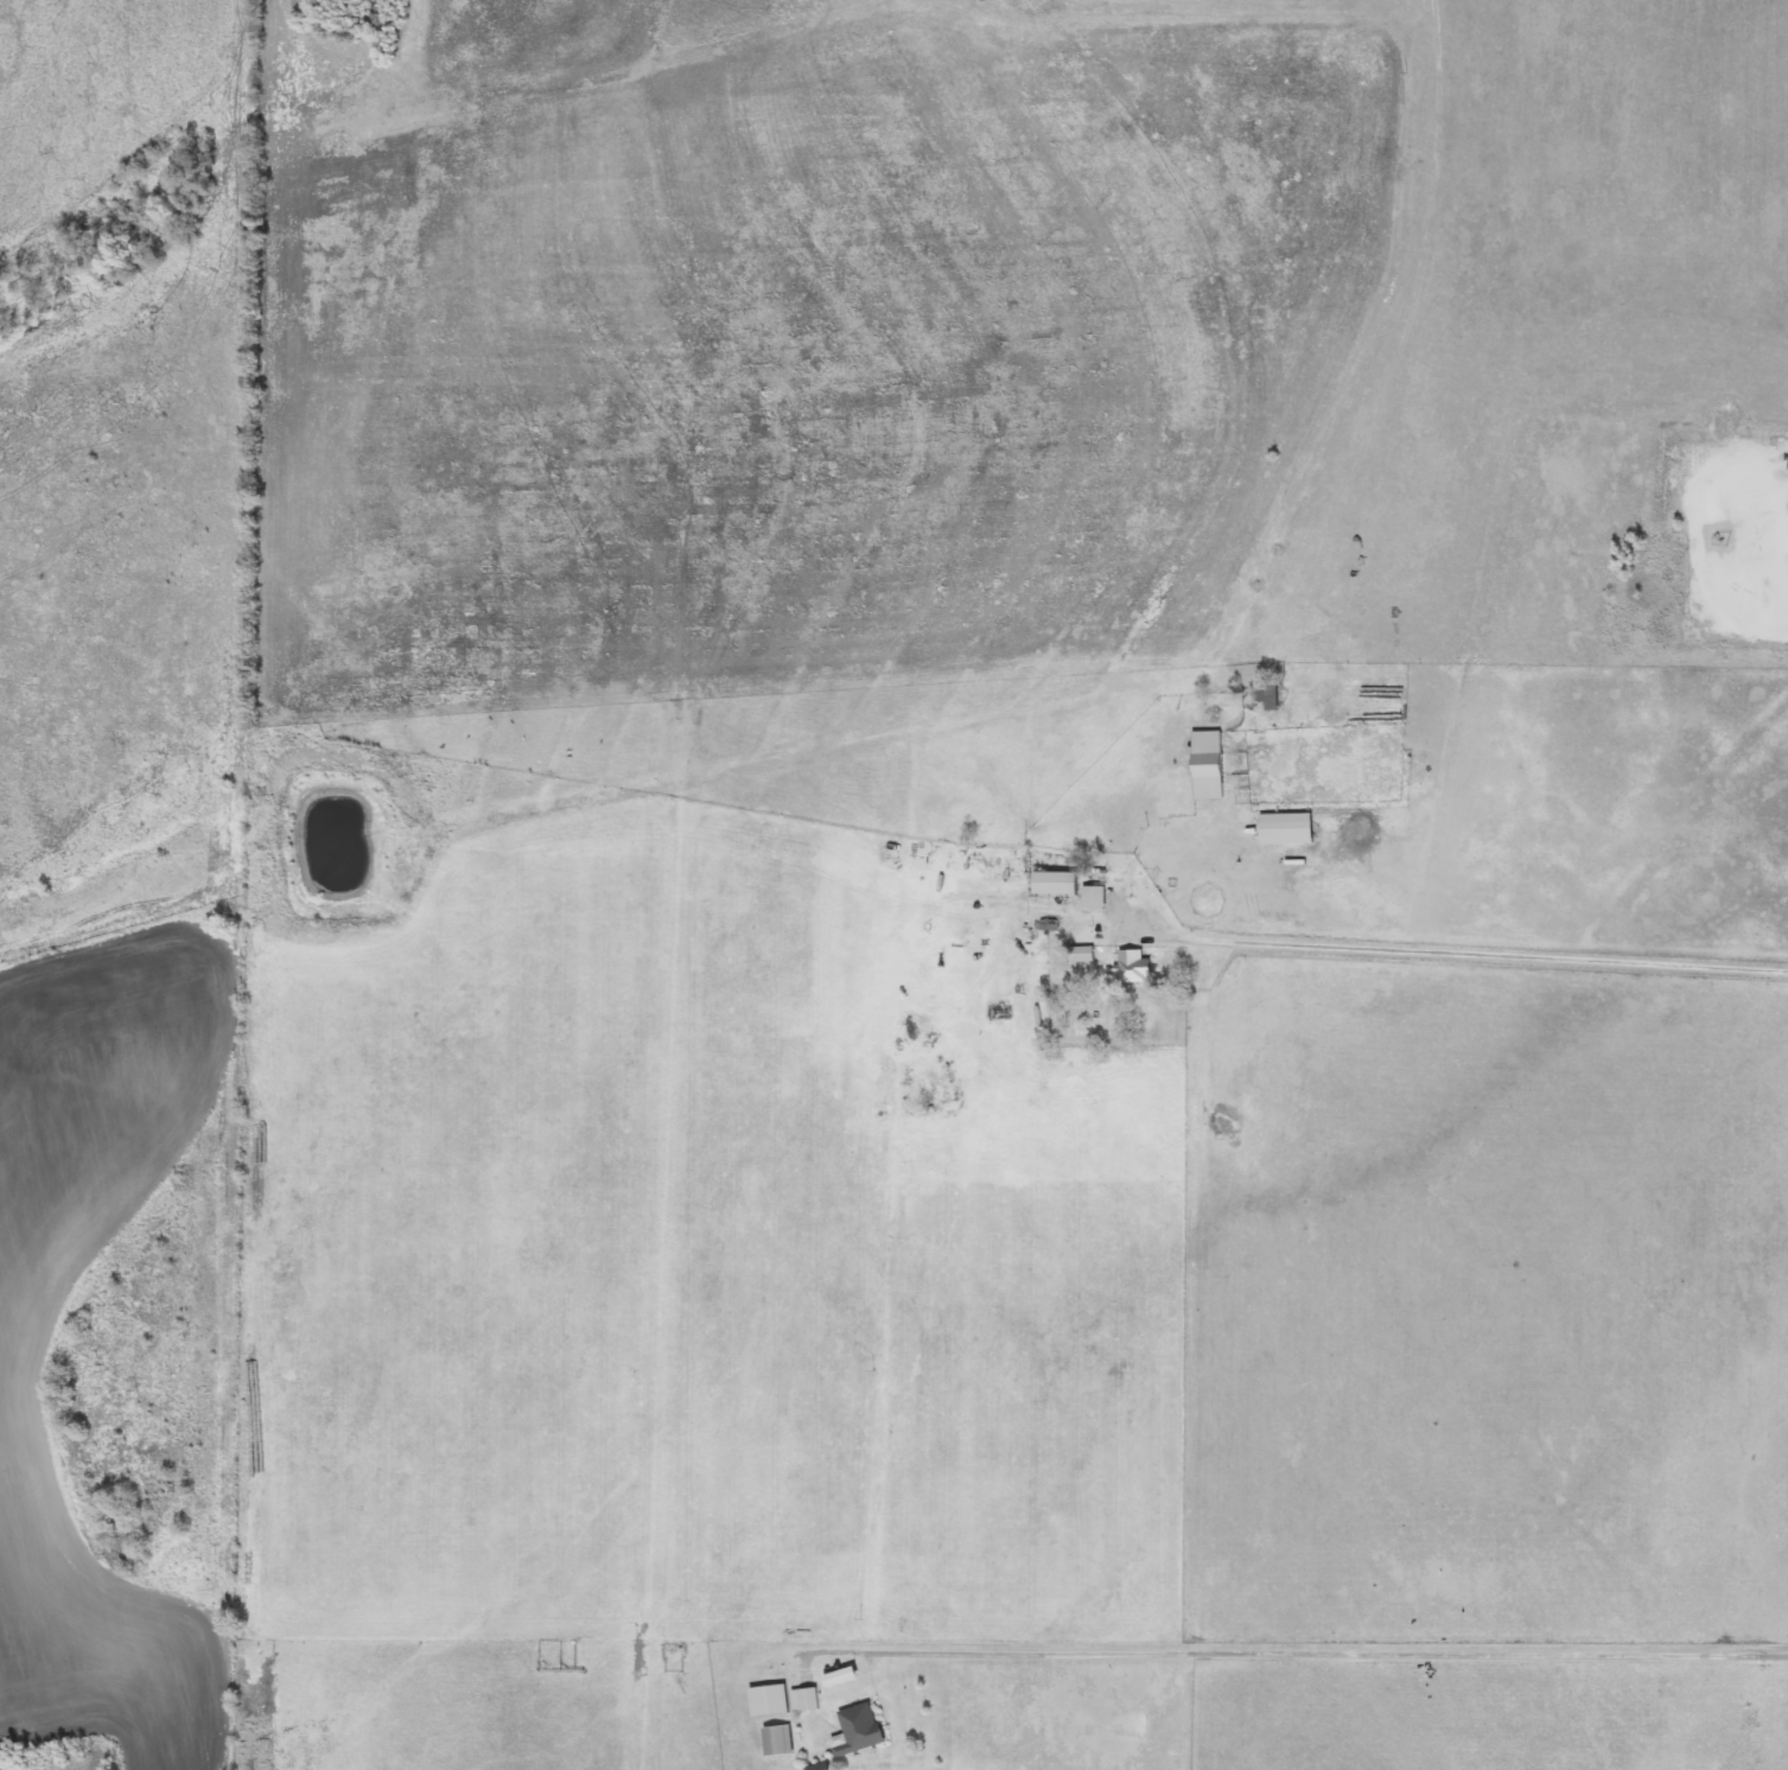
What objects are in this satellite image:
building: (1200, 766)
building: (1278, 820)
building: (1045, 884)
building: (1086, 898)
road: (1457, 953)
building: (1074, 955)
building: (1127, 967)
building: (668, 1651)
road: (1304, 1656)
building: (831, 1676)
building: (797, 1699)
building: (761, 1700)
building: (852, 1728)
building: (770, 1739)
building: (812, 1766)

